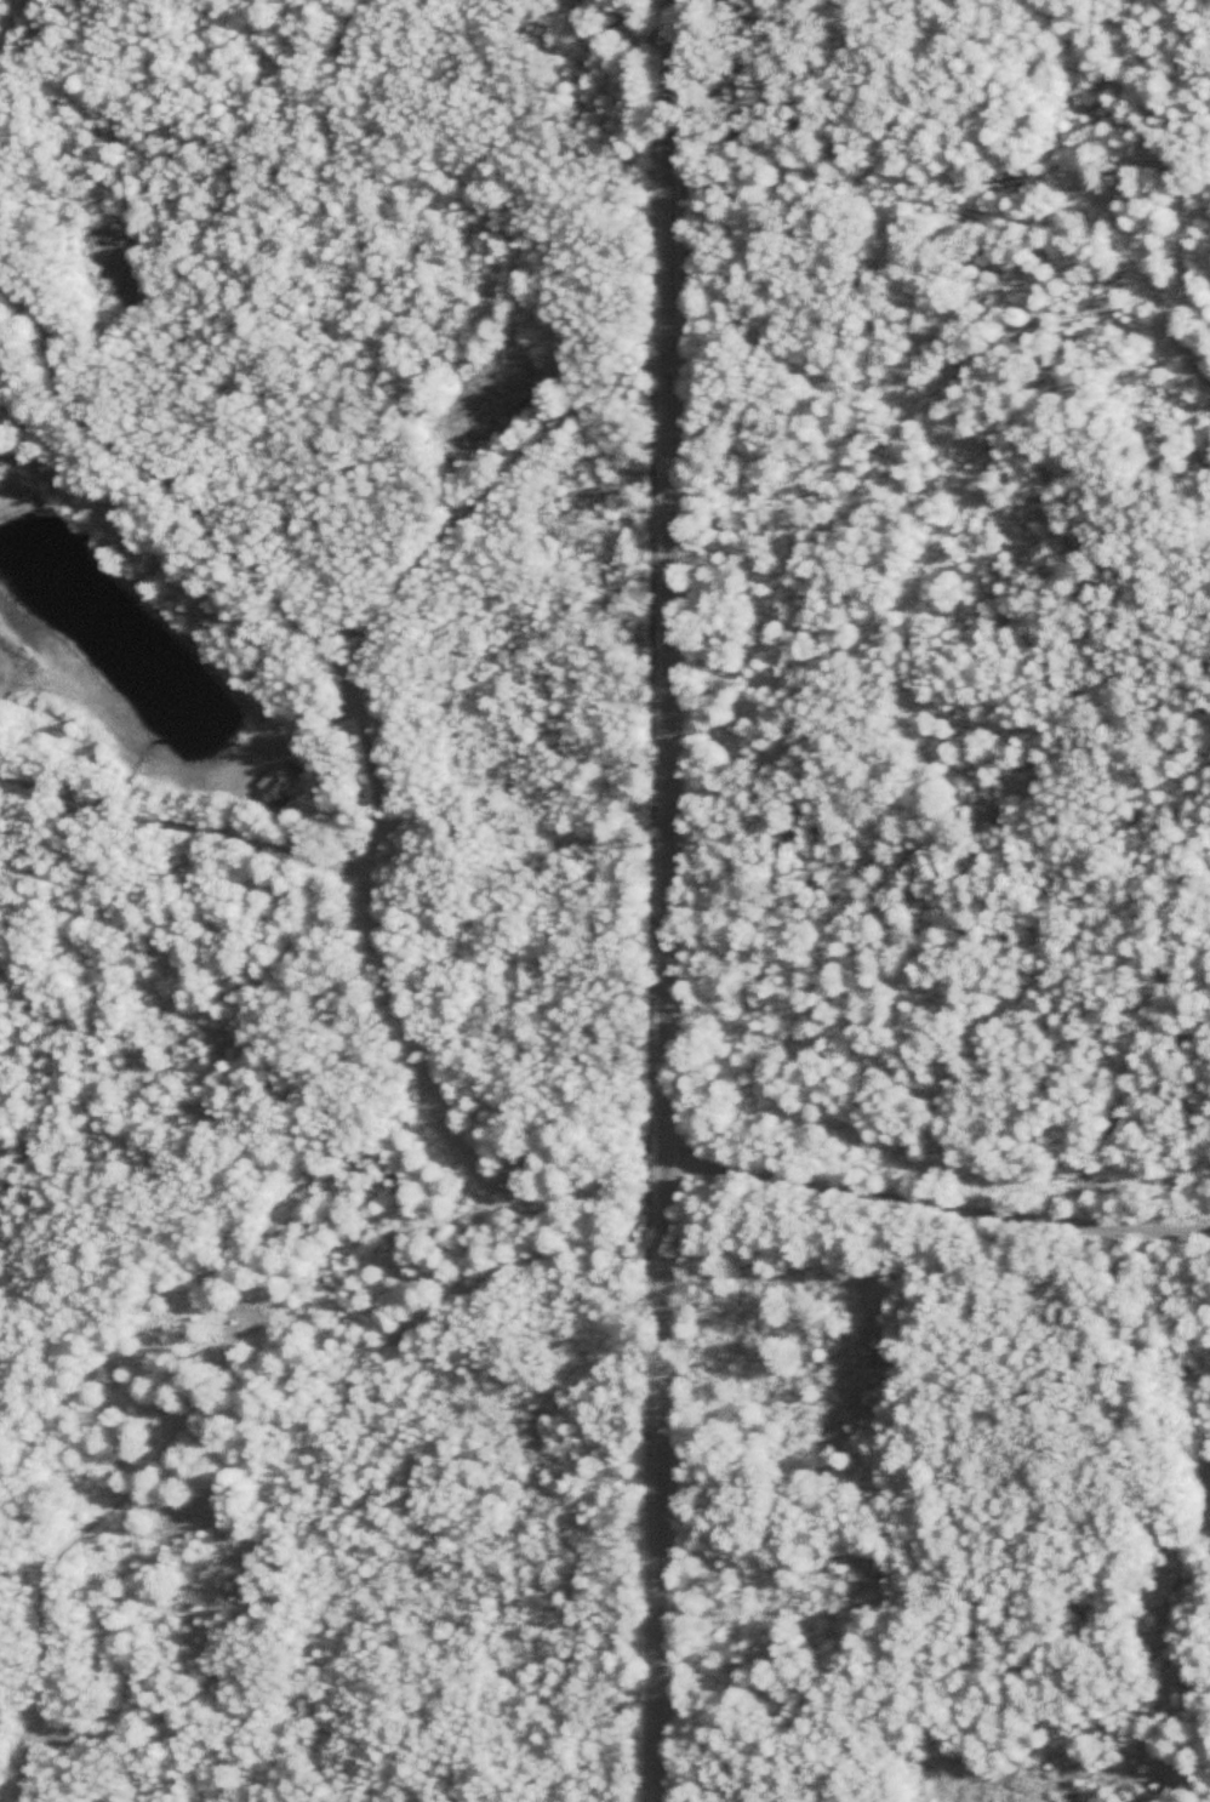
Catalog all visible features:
road: (1084, 172)
building: (276, 793)
road: (664, 900)
road: (936, 1188)

